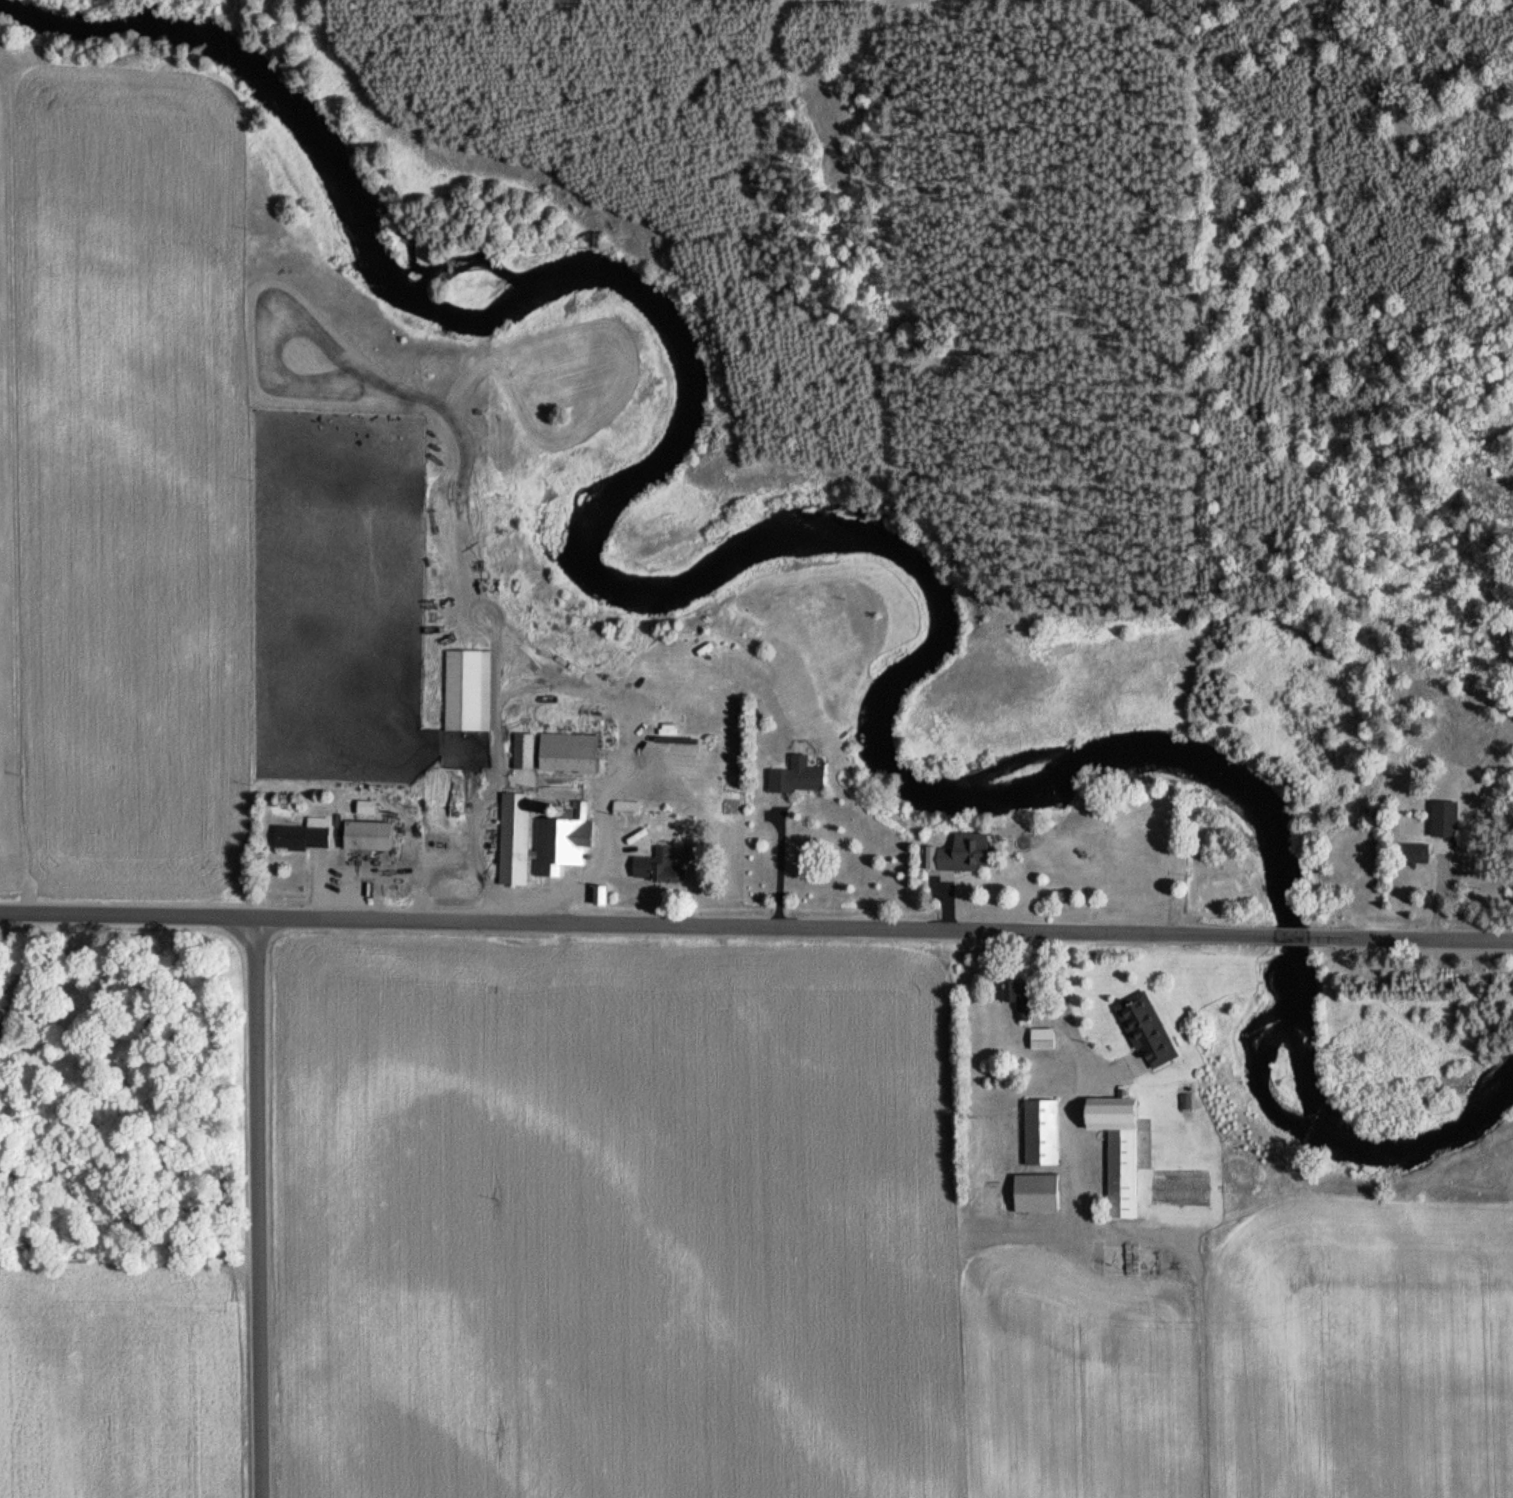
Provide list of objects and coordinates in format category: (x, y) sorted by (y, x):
river: (776, 545)
building: (463, 690)
building: (523, 751)
building: (567, 753)
building: (798, 777)
building: (625, 807)
building: (1444, 827)
building: (304, 835)
building: (365, 836)
building: (539, 841)
building: (692, 853)
building: (965, 853)
building: (1413, 854)
road: (781, 862)
building: (655, 867)
building: (597, 895)
road: (949, 902)
road: (635, 924)
road: (1289, 937)
road: (1410, 938)
building: (1019, 997)
road: (1051, 1015)
building: (1145, 1030)
building: (9, 1033)
building: (1042, 1039)
park: (122, 1094)
building: (1040, 1132)
building: (1122, 1144)
building: (1034, 1194)
road: (260, 1209)

